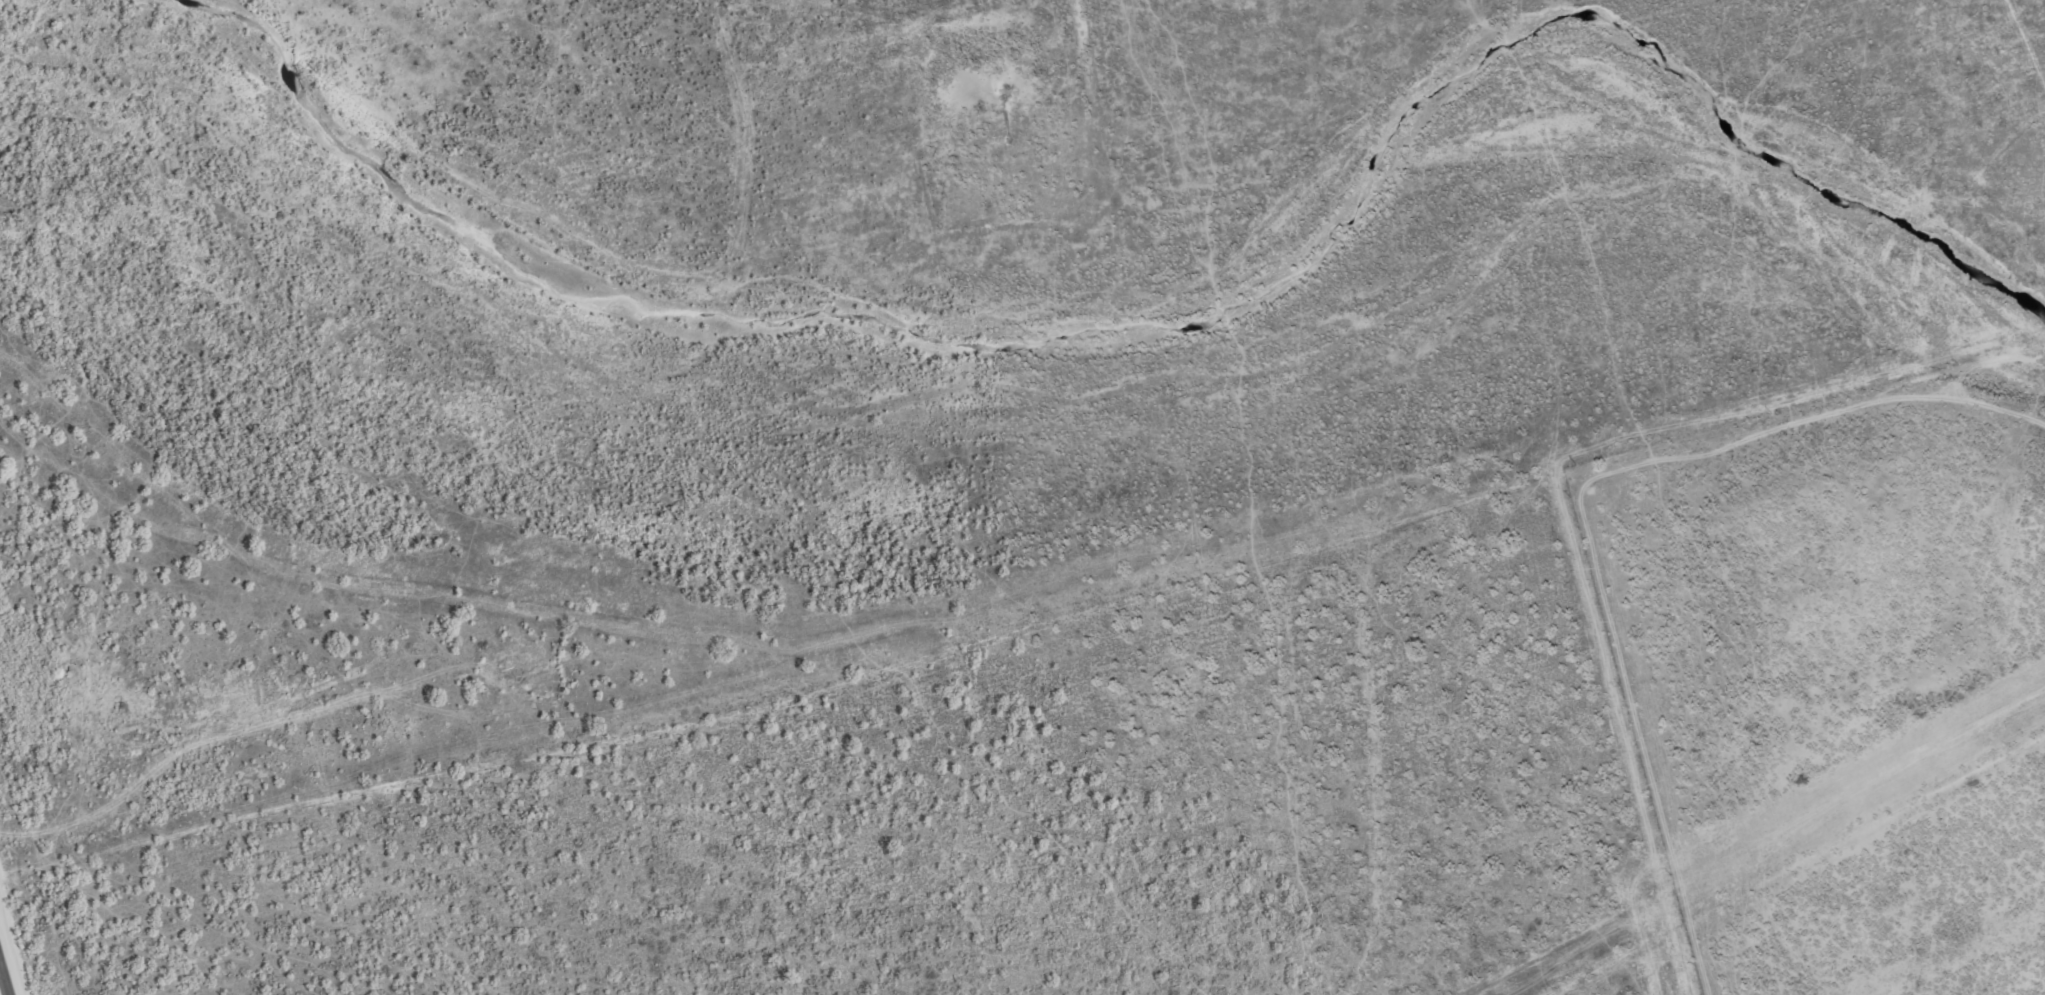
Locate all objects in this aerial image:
river: (1070, 295)
road: (9, 961)

